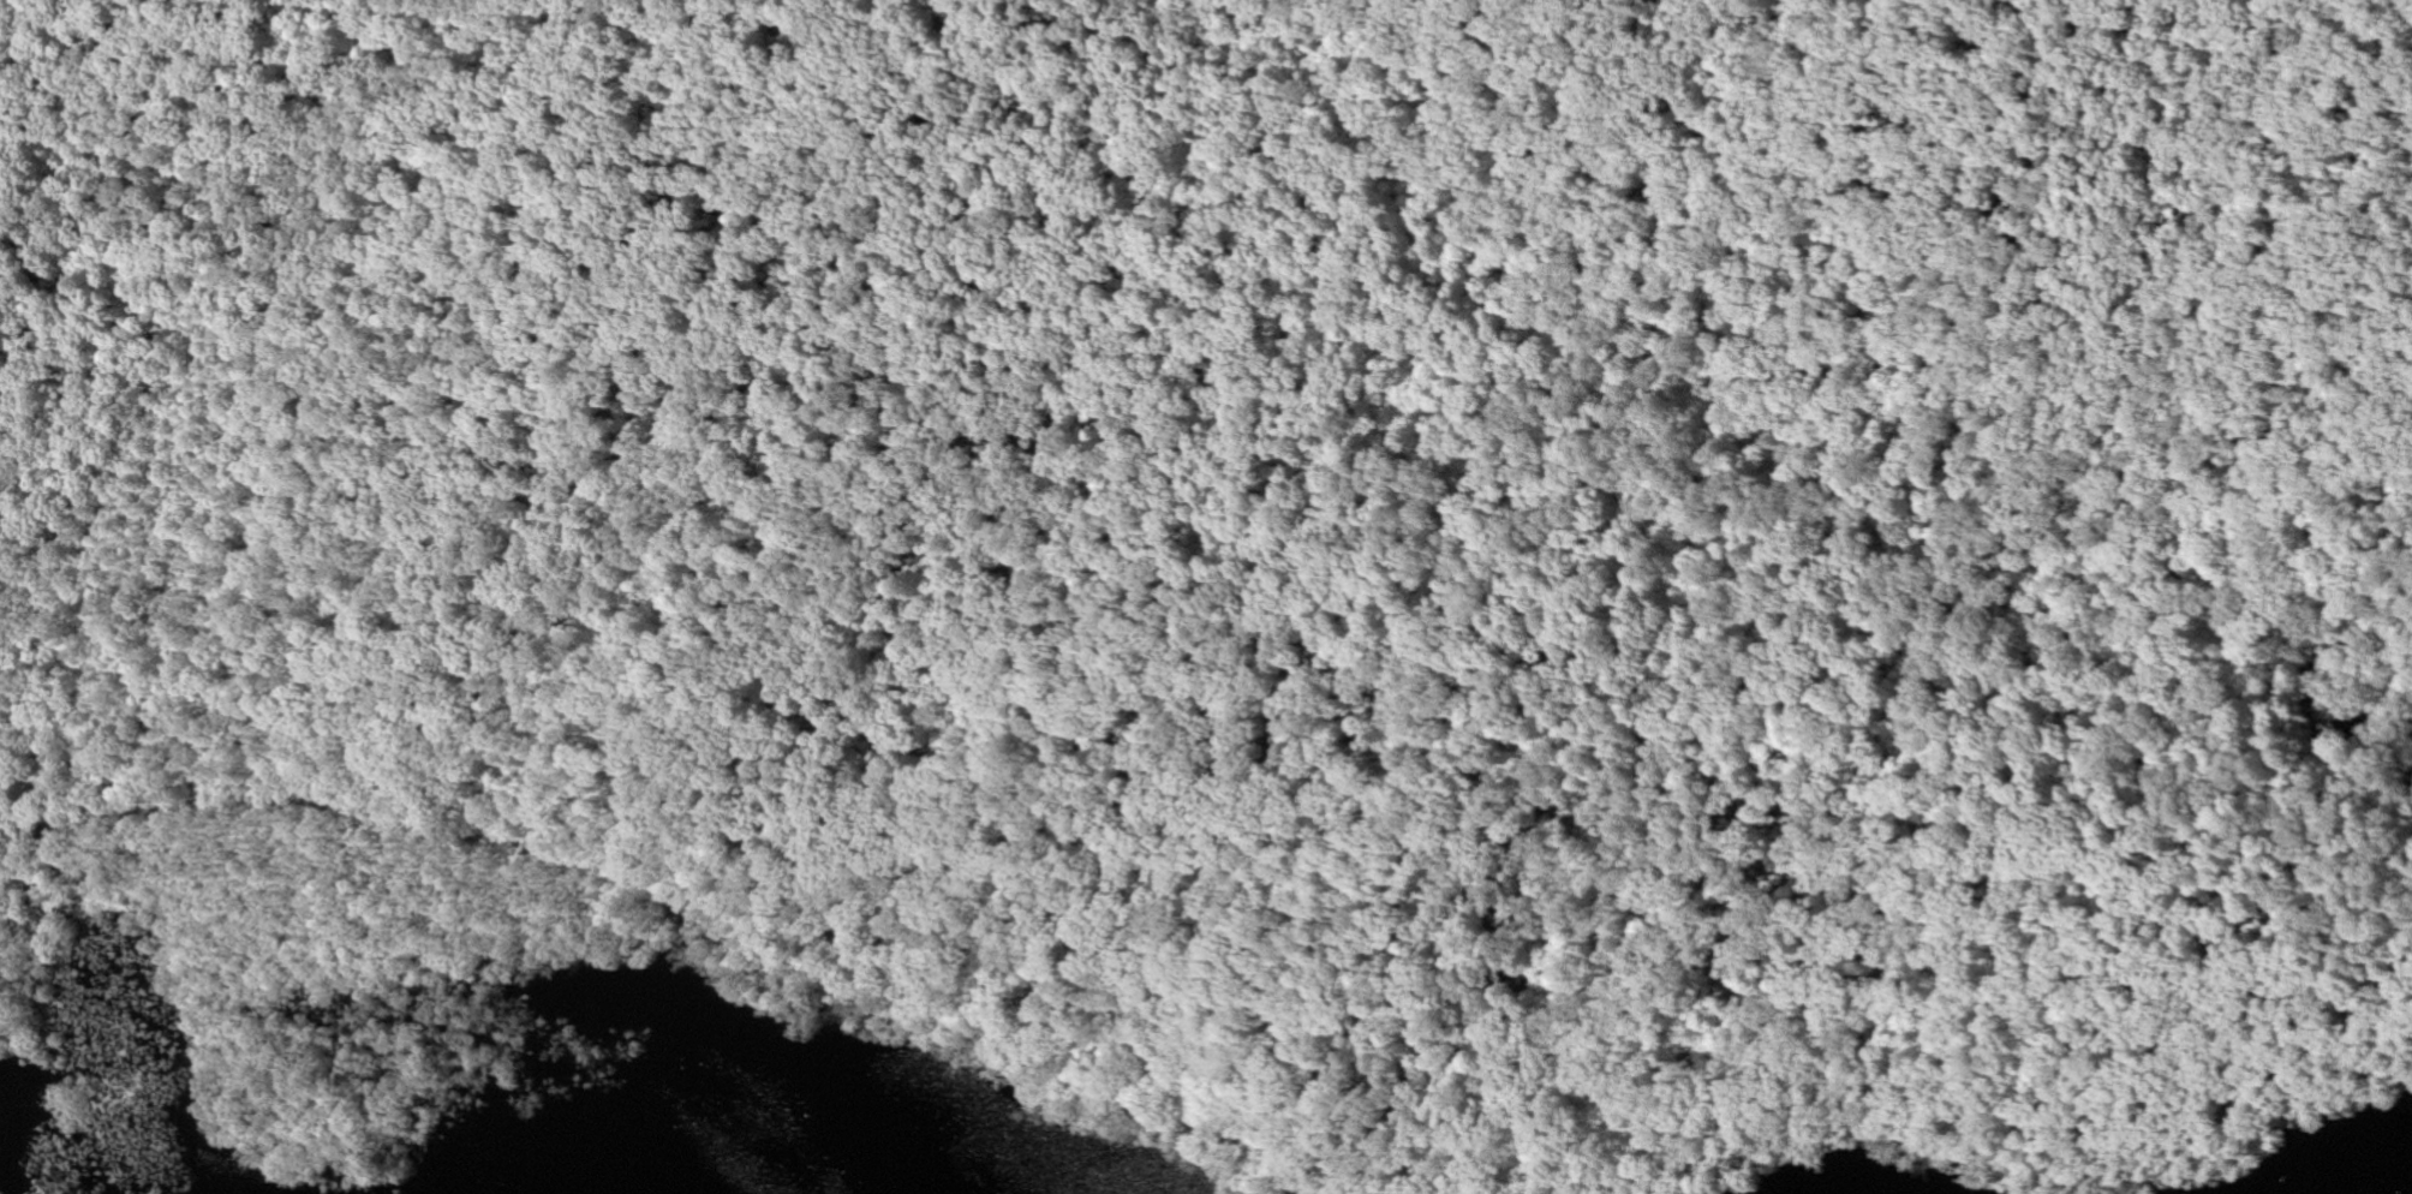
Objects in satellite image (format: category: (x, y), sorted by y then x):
road: (613, 880)
river: (20, 1129)

